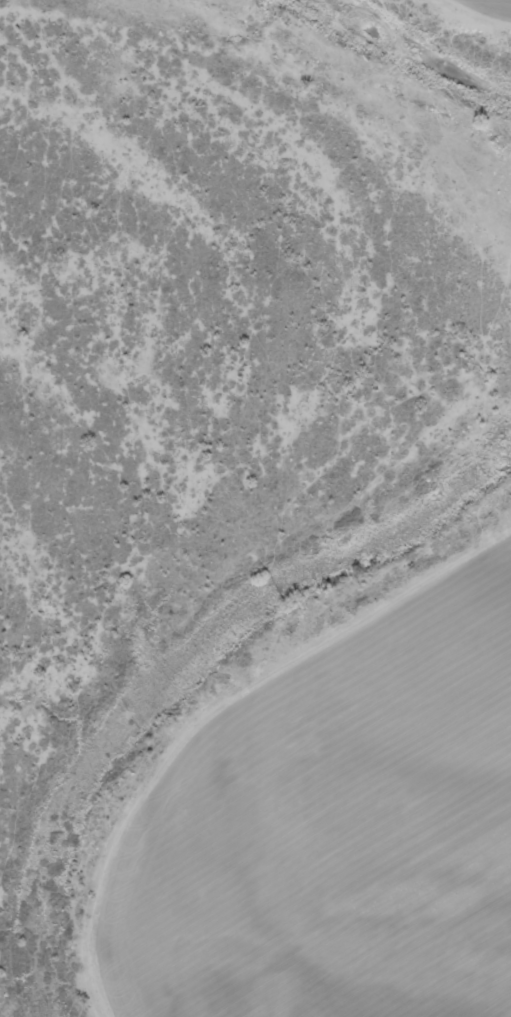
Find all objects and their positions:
river: (412, 48)
river: (176, 665)

